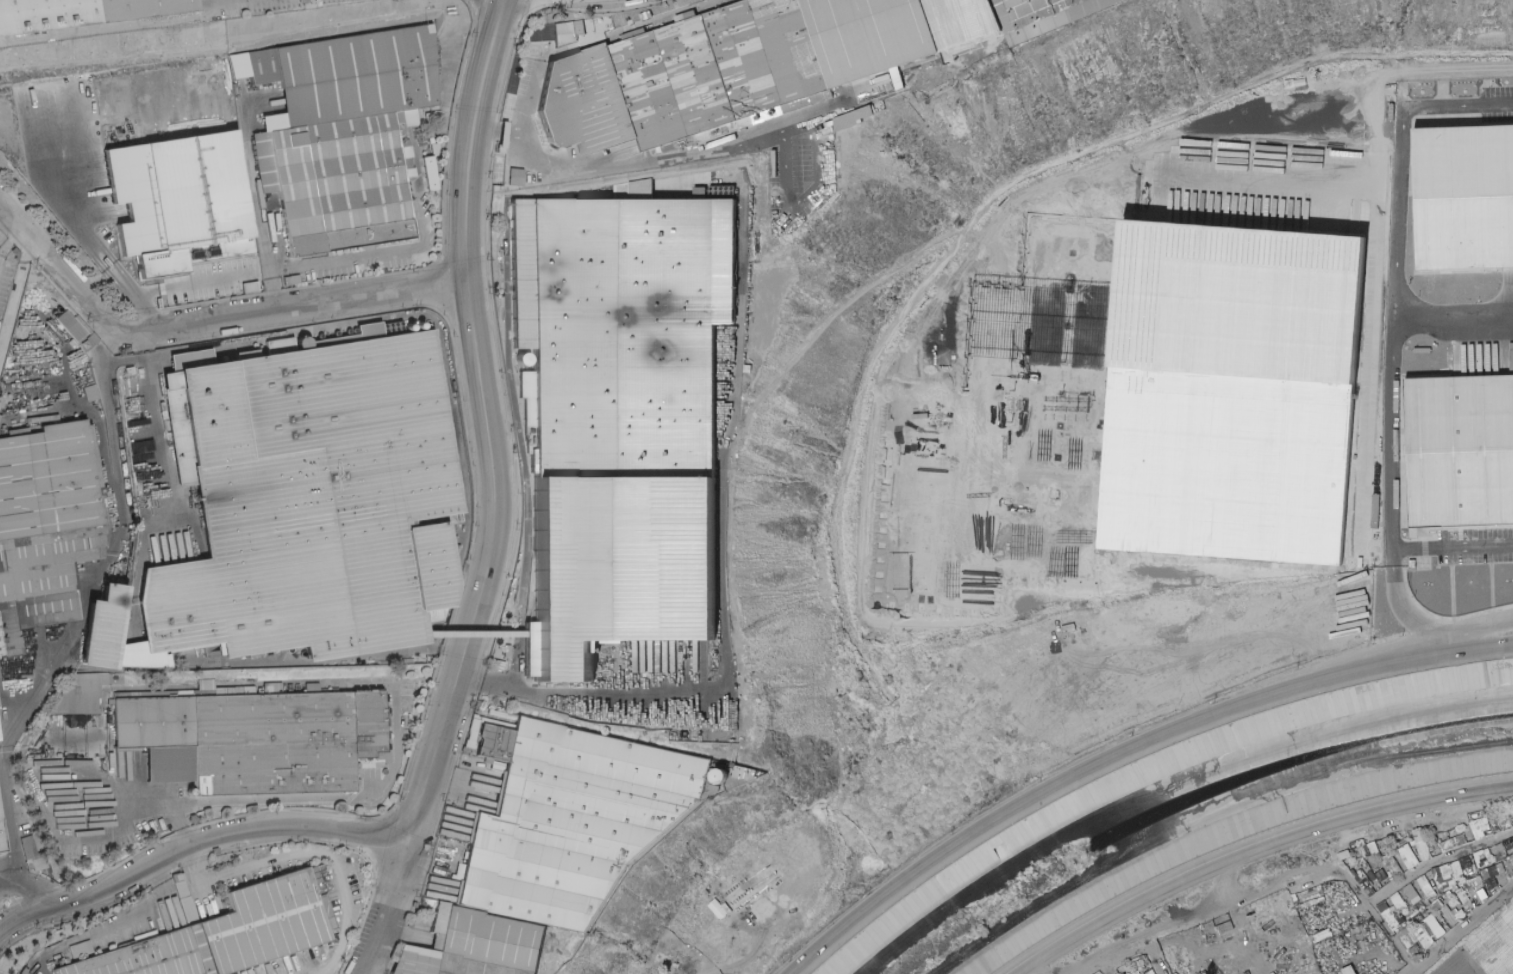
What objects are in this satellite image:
crop: (1483, 949)

